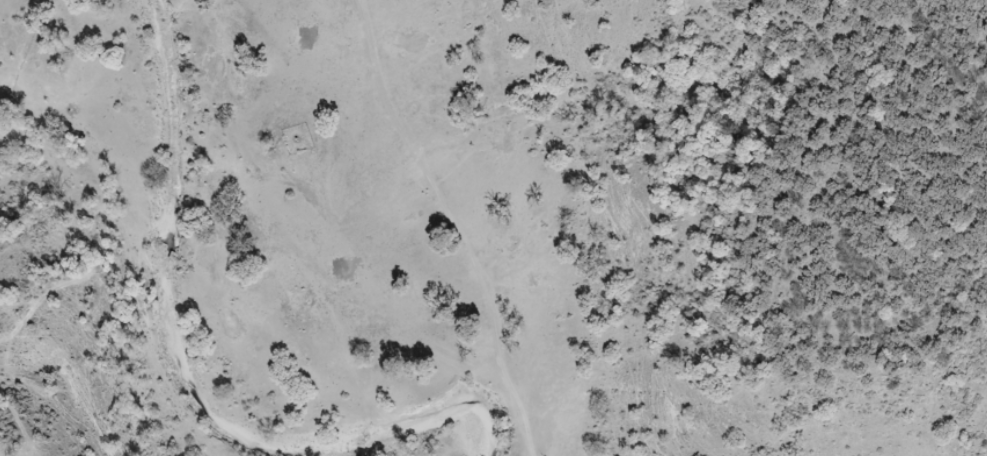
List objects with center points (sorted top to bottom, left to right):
road: (478, 219)

